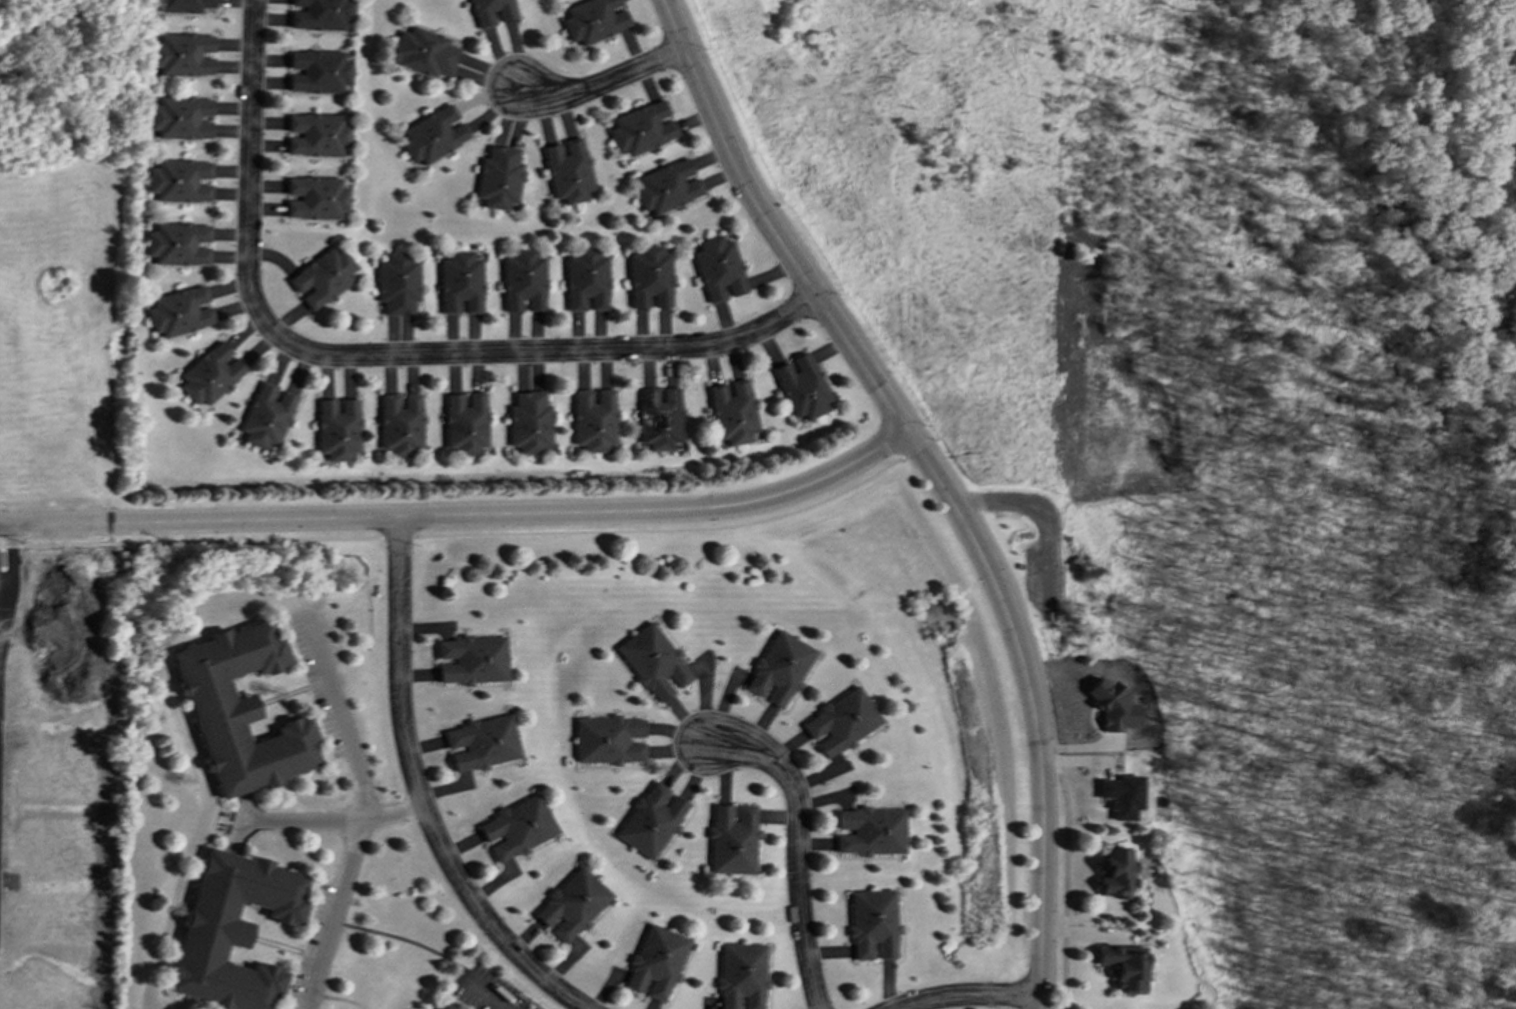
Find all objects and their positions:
building: (184, 5)
building: (490, 11)
building: (321, 15)
building: (593, 19)
building: (423, 51)
building: (182, 53)
building: (319, 71)
road: (597, 85)
building: (181, 117)
building: (641, 128)
building: (433, 134)
building: (318, 135)
building: (567, 170)
building: (499, 176)
building: (179, 180)
building: (666, 186)
building: (315, 197)
building: (179, 243)
building: (717, 268)
building: (649, 276)
building: (322, 277)
building: (585, 279)
building: (522, 280)
building: (397, 282)
building: (460, 282)
building: (180, 311)
road: (377, 355)
building: (211, 373)
building: (801, 387)
building: (731, 411)
building: (267, 415)
building: (660, 418)
building: (594, 419)
building: (465, 422)
building: (530, 422)
building: (401, 423)
building: (338, 428)
road: (916, 447)
road: (948, 473)
road: (954, 477)
road: (464, 516)
road: (459, 534)
road: (4, 553)
building: (472, 659)
building: (653, 661)
building: (777, 668)
building: (1112, 705)
building: (240, 710)
building: (839, 721)
building: (607, 739)
building: (482, 742)
road: (350, 751)
road: (420, 792)
building: (1120, 795)
road: (311, 816)
building: (650, 820)
building: (516, 826)
building: (869, 830)
road: (794, 837)
building: (731, 839)
building: (570, 904)
road: (335, 912)
building: (871, 923)
building: (232, 929)
road: (408, 940)
building: (655, 962)
building: (1123, 965)
building: (740, 975)
road: (488, 996)
road: (968, 996)
building: (443, 1005)

